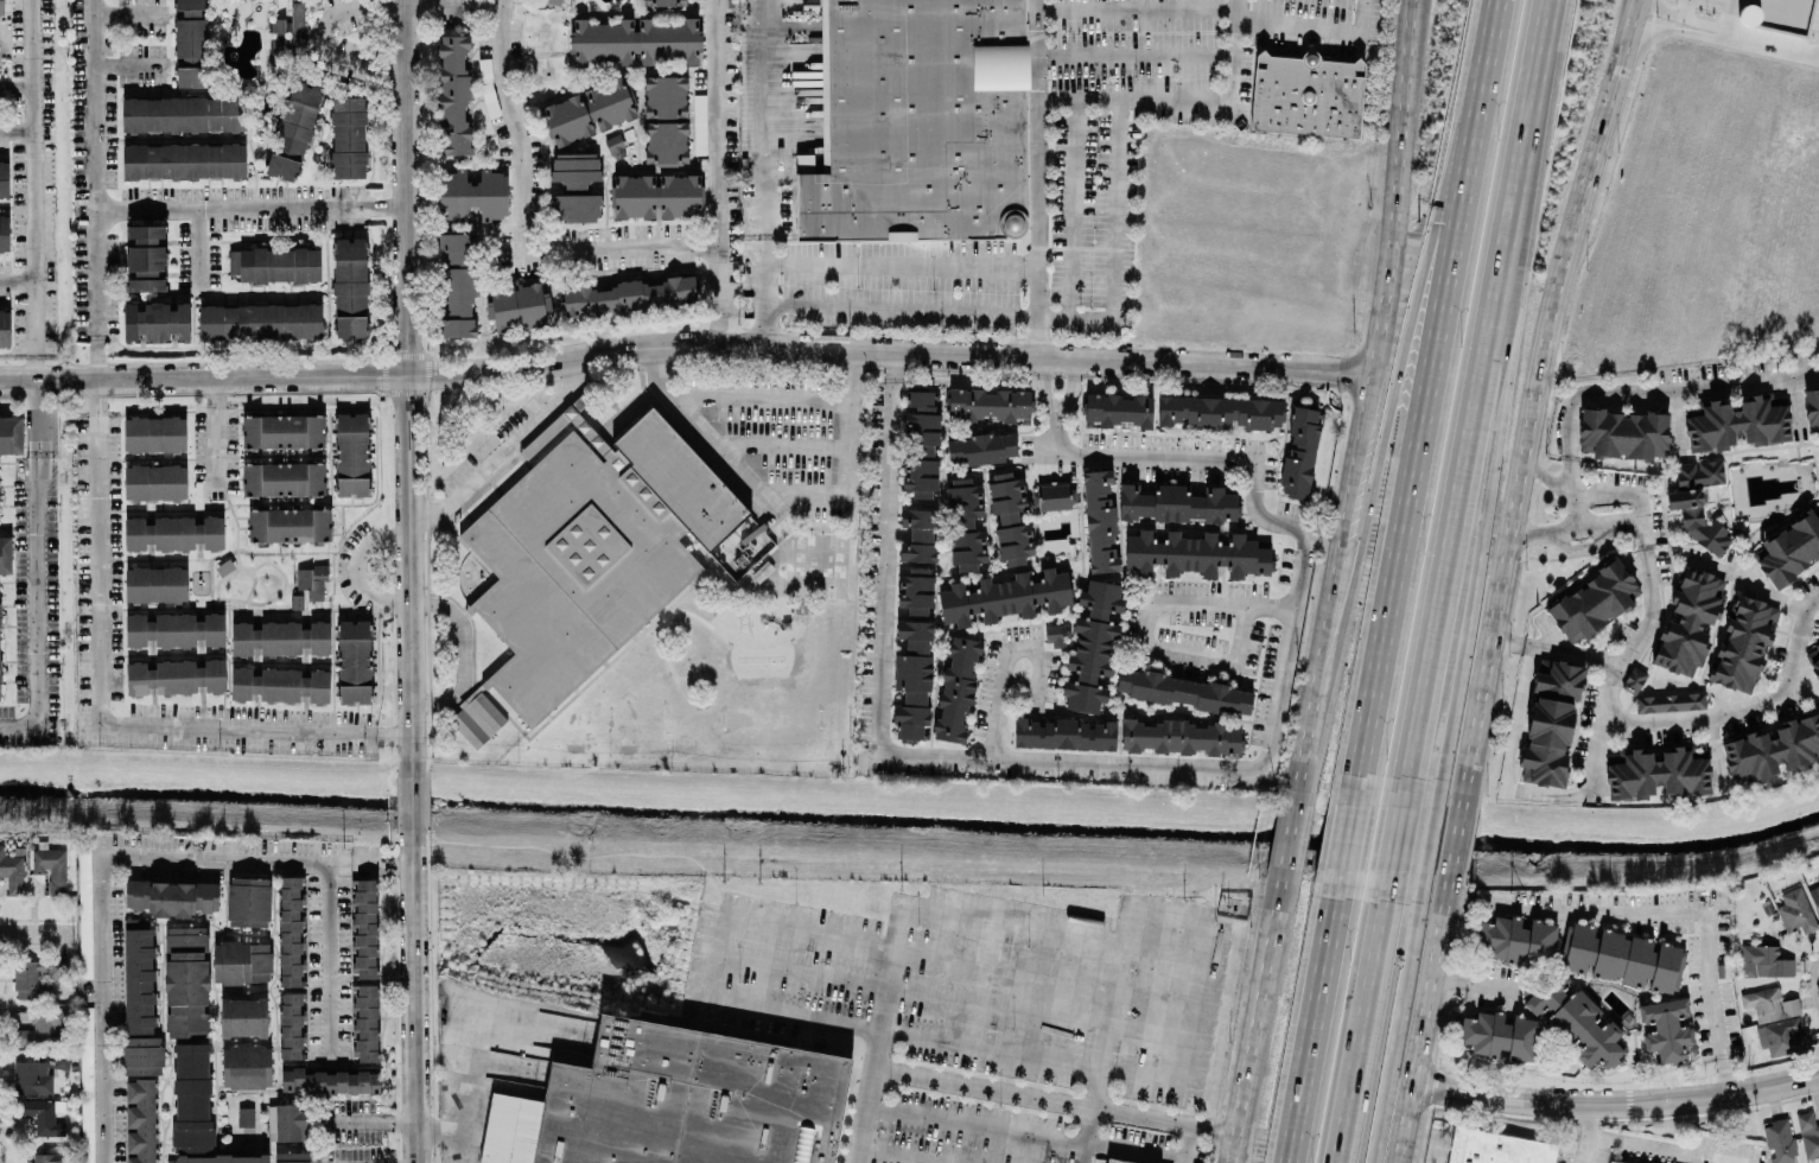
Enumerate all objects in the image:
building: (664, 2)
building: (191, 4)
road: (1503, 5)
road: (452, 7)
road: (1136, 7)
road: (1683, 7)
building: (1, 8)
road: (125, 13)
road: (1728, 17)
building: (297, 25)
road: (1315, 27)
road: (1724, 34)
building: (190, 37)
building: (276, 37)
building: (667, 40)
building: (602, 42)
road: (1772, 45)
road: (1233, 51)
road: (327, 52)
road: (1134, 53)
road: (123, 63)
building: (191, 76)
road: (15, 85)
building: (453, 94)
building: (1306, 94)
road: (1132, 97)
building: (610, 102)
building: (182, 113)
road: (763, 117)
building: (567, 119)
building: (666, 119)
building: (918, 121)
road: (717, 122)
building: (699, 123)
road: (17, 131)
building: (348, 136)
building: (615, 146)
building: (183, 160)
road: (1401, 164)
building: (4, 178)
road: (1038, 178)
building: (575, 186)
road: (408, 188)
road: (94, 189)
road: (33, 190)
building: (452, 195)
building: (490, 195)
building: (655, 195)
road: (252, 203)
road: (1071, 208)
road: (521, 228)
building: (4, 233)
road: (197, 242)
building: (457, 247)
building: (275, 263)
road: (902, 265)
road: (17, 281)
building: (350, 287)
road: (765, 290)
road: (719, 294)
road: (1051, 294)
building: (628, 297)
building: (459, 301)
building: (515, 305)
road: (1049, 316)
building: (157, 320)
building: (260, 322)
building: (5, 328)
road: (889, 350)
road: (1405, 358)
road: (253, 377)
road: (50, 380)
road: (1045, 382)
road: (1070, 385)
road: (1475, 388)
road: (1541, 388)
road: (1665, 390)
road: (1431, 393)
road: (738, 395)
building: (988, 403)
road: (1795, 403)
road: (38, 405)
building: (1118, 409)
building: (1812, 411)
building: (1222, 412)
building: (1735, 424)
road: (217, 428)
building: (284, 431)
building: (154, 433)
building: (1623, 433)
building: (11, 434)
road: (1487, 441)
building: (920, 444)
road: (784, 446)
road: (507, 447)
building: (981, 449)
road: (33, 451)
road: (43, 451)
building: (351, 453)
building: (1299, 453)
building: (1699, 472)
road: (1548, 476)
building: (284, 478)
building: (154, 482)
road: (812, 492)
building: (1052, 496)
building: (1176, 502)
building: (1010, 517)
road: (1348, 519)
building: (1697, 519)
building: (1099, 520)
building: (965, 523)
building: (288, 525)
road: (1543, 528)
road: (1578, 528)
building: (173, 533)
building: (918, 534)
building: (591, 548)
building: (1789, 548)
building: (1196, 552)
building: (5, 554)
road: (358, 565)
road: (411, 570)
building: (311, 580)
road: (1750, 580)
building: (155, 584)
building: (915, 590)
building: (1004, 596)
road: (1162, 599)
building: (1592, 600)
road: (1812, 602)
road: (1267, 608)
road: (38, 614)
building: (1688, 622)
building: (174, 630)
building: (915, 634)
building: (1055, 635)
building: (280, 637)
road: (1507, 643)
building: (1743, 643)
building: (1092, 646)
road: (463, 649)
road: (1564, 655)
building: (1813, 659)
building: (354, 661)
road: (1807, 672)
building: (173, 676)
building: (1634, 678)
building: (279, 685)
building: (955, 689)
road: (1033, 689)
building: (1185, 691)
building: (0, 693)
building: (911, 693)
road: (113, 701)
building: (1669, 701)
road: (1648, 717)
road: (994, 719)
building: (1550, 722)
building: (1063, 733)
building: (1179, 736)
building: (1772, 749)
road: (1310, 751)
road: (1168, 762)
building: (1655, 771)
road: (1589, 775)
road: (413, 802)
road: (1295, 831)
road: (1456, 832)
road: (1397, 835)
road: (1355, 837)
road: (1425, 837)
road: (103, 853)
building: (53, 869)
building: (12, 872)
building: (1818, 872)
building: (172, 897)
building: (1814, 897)
building: (248, 901)
road: (1668, 905)
building: (1795, 911)
road: (1080, 915)
building: (363, 928)
building: (290, 930)
road: (37, 932)
building: (1515, 938)
road: (711, 952)
building: (1621, 957)
building: (1763, 960)
building: (241, 961)
road: (327, 965)
building: (37, 977)
road: (1468, 980)
building: (186, 983)
road: (415, 1002)
building: (1769, 1003)
building: (140, 1004)
road: (1108, 1015)
building: (242, 1016)
road: (1261, 1016)
building: (1575, 1018)
building: (364, 1022)
road: (1424, 1023)
building: (291, 1024)
building: (40, 1027)
road: (1393, 1027)
road: (1360, 1028)
road: (1321, 1029)
building: (1665, 1029)
road: (893, 1032)
building: (1497, 1034)
building: (1782, 1036)
road: (1207, 1042)
building: (62, 1060)
road: (478, 1060)
building: (246, 1066)
building: (32, 1076)
building: (329, 1081)
building: (87, 1085)
road: (1618, 1101)
building: (674, 1102)
road: (1066, 1104)
building: (204, 1112)
building: (42, 1116)
building: (244, 1116)
building: (141, 1120)
road: (368, 1120)
building: (287, 1121)
road: (984, 1125)
road: (1594, 1132)
building: (1808, 1133)
road: (1086, 1136)
building: (1779, 1142)
building: (1495, 1148)
road: (1673, 1148)
building: (47, 1157)
building: (171, 1161)
building: (1118, 1161)
building: (1608, 1162)

